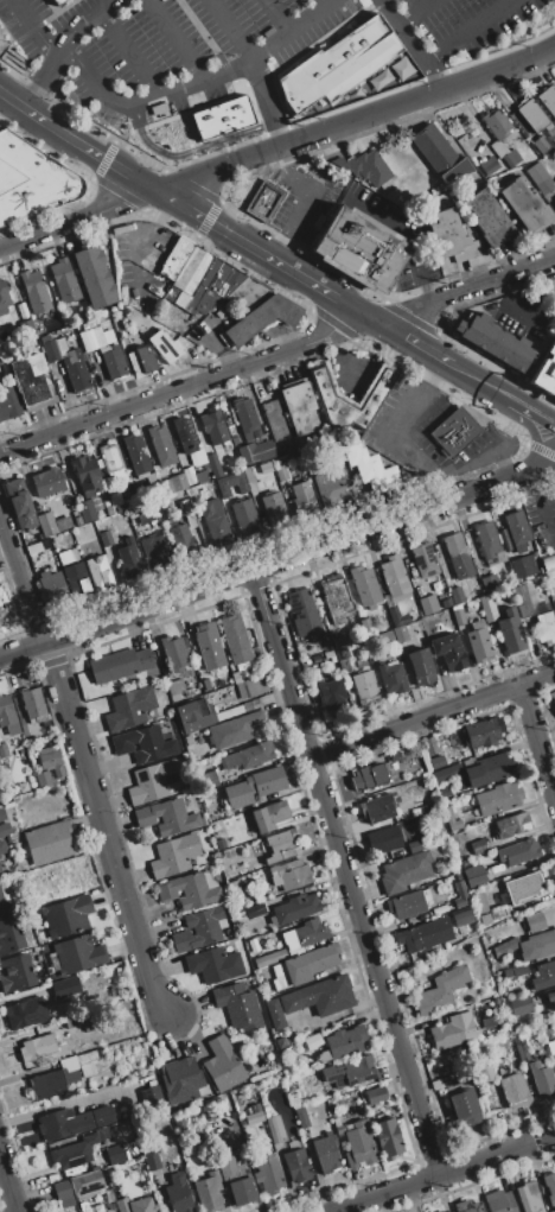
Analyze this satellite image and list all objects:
building: (51, 0)
building: (56, 1)
road: (323, 4)
road: (414, 12)
road: (275, 17)
road: (85, 21)
road: (229, 30)
road: (461, 30)
road: (172, 38)
road: (410, 45)
road: (127, 51)
parking lot: (234, 52)
building: (336, 65)
building: (389, 72)
road: (42, 77)
road: (160, 89)
road: (4, 91)
building: (547, 100)
road: (266, 103)
building: (219, 114)
building: (531, 114)
road: (355, 121)
building: (496, 123)
road: (82, 144)
building: (542, 146)
building: (433, 148)
building: (497, 148)
building: (511, 157)
building: (487, 165)
building: (368, 167)
building: (455, 170)
building: (536, 172)
building: (32, 180)
building: (546, 184)
road: (310, 189)
building: (554, 199)
building: (263, 202)
building: (525, 204)
road: (183, 209)
building: (486, 217)
road: (77, 220)
road: (396, 228)
building: (448, 236)
road: (276, 248)
building: (358, 248)
building: (176, 259)
road: (273, 262)
building: (194, 271)
building: (94, 277)
building: (224, 279)
building: (63, 280)
building: (13, 290)
building: (34, 291)
road: (426, 292)
building: (171, 293)
building: (247, 294)
building: (4, 297)
building: (193, 297)
building: (180, 299)
building: (205, 302)
road: (518, 304)
road: (353, 311)
building: (261, 318)
building: (108, 336)
building: (91, 338)
building: (495, 341)
building: (60, 345)
building: (164, 345)
road: (410, 345)
building: (51, 350)
road: (277, 355)
road: (340, 356)
building: (0, 358)
building: (145, 358)
building: (0, 362)
building: (114, 362)
building: (133, 364)
building: (75, 369)
road: (351, 369)
building: (546, 373)
building: (30, 379)
road: (478, 386)
road: (420, 395)
building: (332, 398)
building: (8, 404)
building: (299, 408)
road: (531, 417)
building: (245, 418)
building: (274, 420)
building: (213, 427)
building: (262, 431)
building: (453, 431)
building: (187, 440)
building: (161, 445)
building: (255, 451)
building: (135, 453)
building: (110, 458)
building: (213, 465)
building: (370, 470)
building: (249, 472)
building: (280, 472)
building: (87, 475)
building: (189, 476)
building: (200, 477)
building: (151, 478)
building: (46, 482)
building: (347, 486)
building: (328, 487)
building: (222, 495)
building: (302, 497)
building: (115, 499)
road: (537, 499)
building: (95, 502)
building: (19, 503)
building: (120, 508)
building: (273, 508)
building: (85, 510)
building: (108, 510)
building: (244, 515)
building: (189, 519)
building: (230, 519)
building: (213, 520)
building: (46, 523)
building: (516, 527)
building: (180, 537)
building: (37, 538)
building: (106, 538)
building: (55, 539)
building: (486, 539)
building: (38, 547)
building: (153, 551)
building: (74, 554)
building: (458, 556)
building: (64, 558)
building: (128, 559)
building: (425, 560)
building: (548, 561)
road: (279, 564)
building: (523, 566)
building: (98, 573)
building: (394, 578)
building: (76, 579)
road: (23, 580)
building: (489, 583)
building: (50, 584)
building: (364, 585)
building: (455, 595)
building: (523, 595)
building: (336, 599)
building: (1, 602)
building: (446, 603)
building: (428, 604)
building: (487, 608)
building: (302, 611)
building: (0, 616)
building: (396, 616)
building: (458, 616)
building: (365, 626)
building: (541, 627)
building: (408, 630)
building: (400, 634)
building: (511, 635)
building: (382, 637)
building: (235, 639)
building: (476, 641)
building: (339, 642)
building: (209, 646)
building: (325, 646)
building: (448, 652)
building: (173, 654)
building: (119, 664)
building: (343, 665)
building: (421, 667)
building: (236, 677)
building: (391, 677)
building: (256, 685)
building: (364, 686)
building: (331, 694)
building: (554, 696)
building: (250, 704)
building: (33, 705)
building: (129, 709)
building: (229, 712)
building: (194, 715)
road: (432, 715)
building: (7, 716)
building: (234, 730)
building: (481, 732)
road: (540, 738)
building: (143, 743)
building: (429, 745)
building: (4, 750)
building: (249, 756)
building: (394, 756)
building: (50, 760)
building: (393, 766)
building: (486, 770)
building: (447, 773)
building: (368, 776)
building: (43, 779)
building: (208, 780)
building: (155, 781)
building: (254, 786)
building: (23, 787)
building: (444, 792)
building: (497, 798)
building: (376, 808)
building: (2, 814)
building: (268, 816)
building: (166, 817)
building: (451, 819)
building: (510, 826)
road: (102, 827)
building: (5, 829)
building: (383, 839)
building: (49, 842)
building: (416, 845)
building: (476, 845)
building: (1, 846)
building: (280, 846)
building: (518, 851)
building: (397, 854)
building: (173, 856)
building: (0, 869)
building: (404, 872)
building: (289, 874)
road: (345, 874)
building: (474, 876)
building: (433, 878)
building: (234, 884)
building: (459, 886)
building: (519, 888)
building: (190, 889)
building: (459, 895)
building: (4, 900)
building: (479, 902)
building: (409, 903)
building: (293, 908)
building: (439, 908)
building: (254, 909)
building: (498, 913)
building: (66, 915)
building: (425, 915)
building: (462, 918)
building: (484, 919)
building: (534, 922)
building: (199, 928)
building: (9, 934)
building: (305, 934)
building: (423, 934)
building: (529, 946)
building: (76, 954)
building: (270, 957)
building: (321, 957)
building: (213, 964)
building: (277, 970)
building: (295, 970)
building: (515, 970)
building: (14, 972)
building: (543, 975)
building: (280, 982)
building: (65, 988)
building: (440, 991)
building: (311, 998)
building: (550, 998)
building: (237, 1004)
building: (519, 1004)
building: (25, 1013)
building: (487, 1022)
building: (449, 1033)
building: (312, 1041)
building: (280, 1042)
building: (343, 1042)
building: (37, 1047)
building: (519, 1047)
building: (550, 1047)
building: (554, 1055)
building: (85, 1056)
building: (222, 1064)
building: (87, 1070)
building: (349, 1072)
building: (485, 1072)
building: (541, 1078)
building: (181, 1080)
building: (446, 1081)
building: (50, 1083)
building: (292, 1084)
building: (515, 1091)
building: (149, 1096)
building: (374, 1096)
building: (255, 1108)
building: (462, 1108)
building: (301, 1116)
building: (253, 1117)
building: (208, 1118)
building: (74, 1121)
building: (178, 1123)
building: (275, 1128)
building: (339, 1130)
building: (387, 1137)
building: (358, 1144)
building: (264, 1146)
building: (74, 1151)
building: (325, 1153)
building: (114, 1154)
building: (151, 1156)
building: (296, 1165)
building: (227, 1166)
road: (444, 1172)
building: (268, 1173)
road: (8, 1184)
building: (85, 1185)
building: (549, 1187)
building: (241, 1191)
building: (208, 1192)
building: (62, 1193)
building: (178, 1193)
building: (528, 1197)
building: (499, 1201)
building: (122, 1205)
building: (142, 1205)
building: (83, 1206)
building: (467, 1206)
building: (441, 1211)
building: (446, 1211)
building: (451, 1211)
building: (550, 1211)

